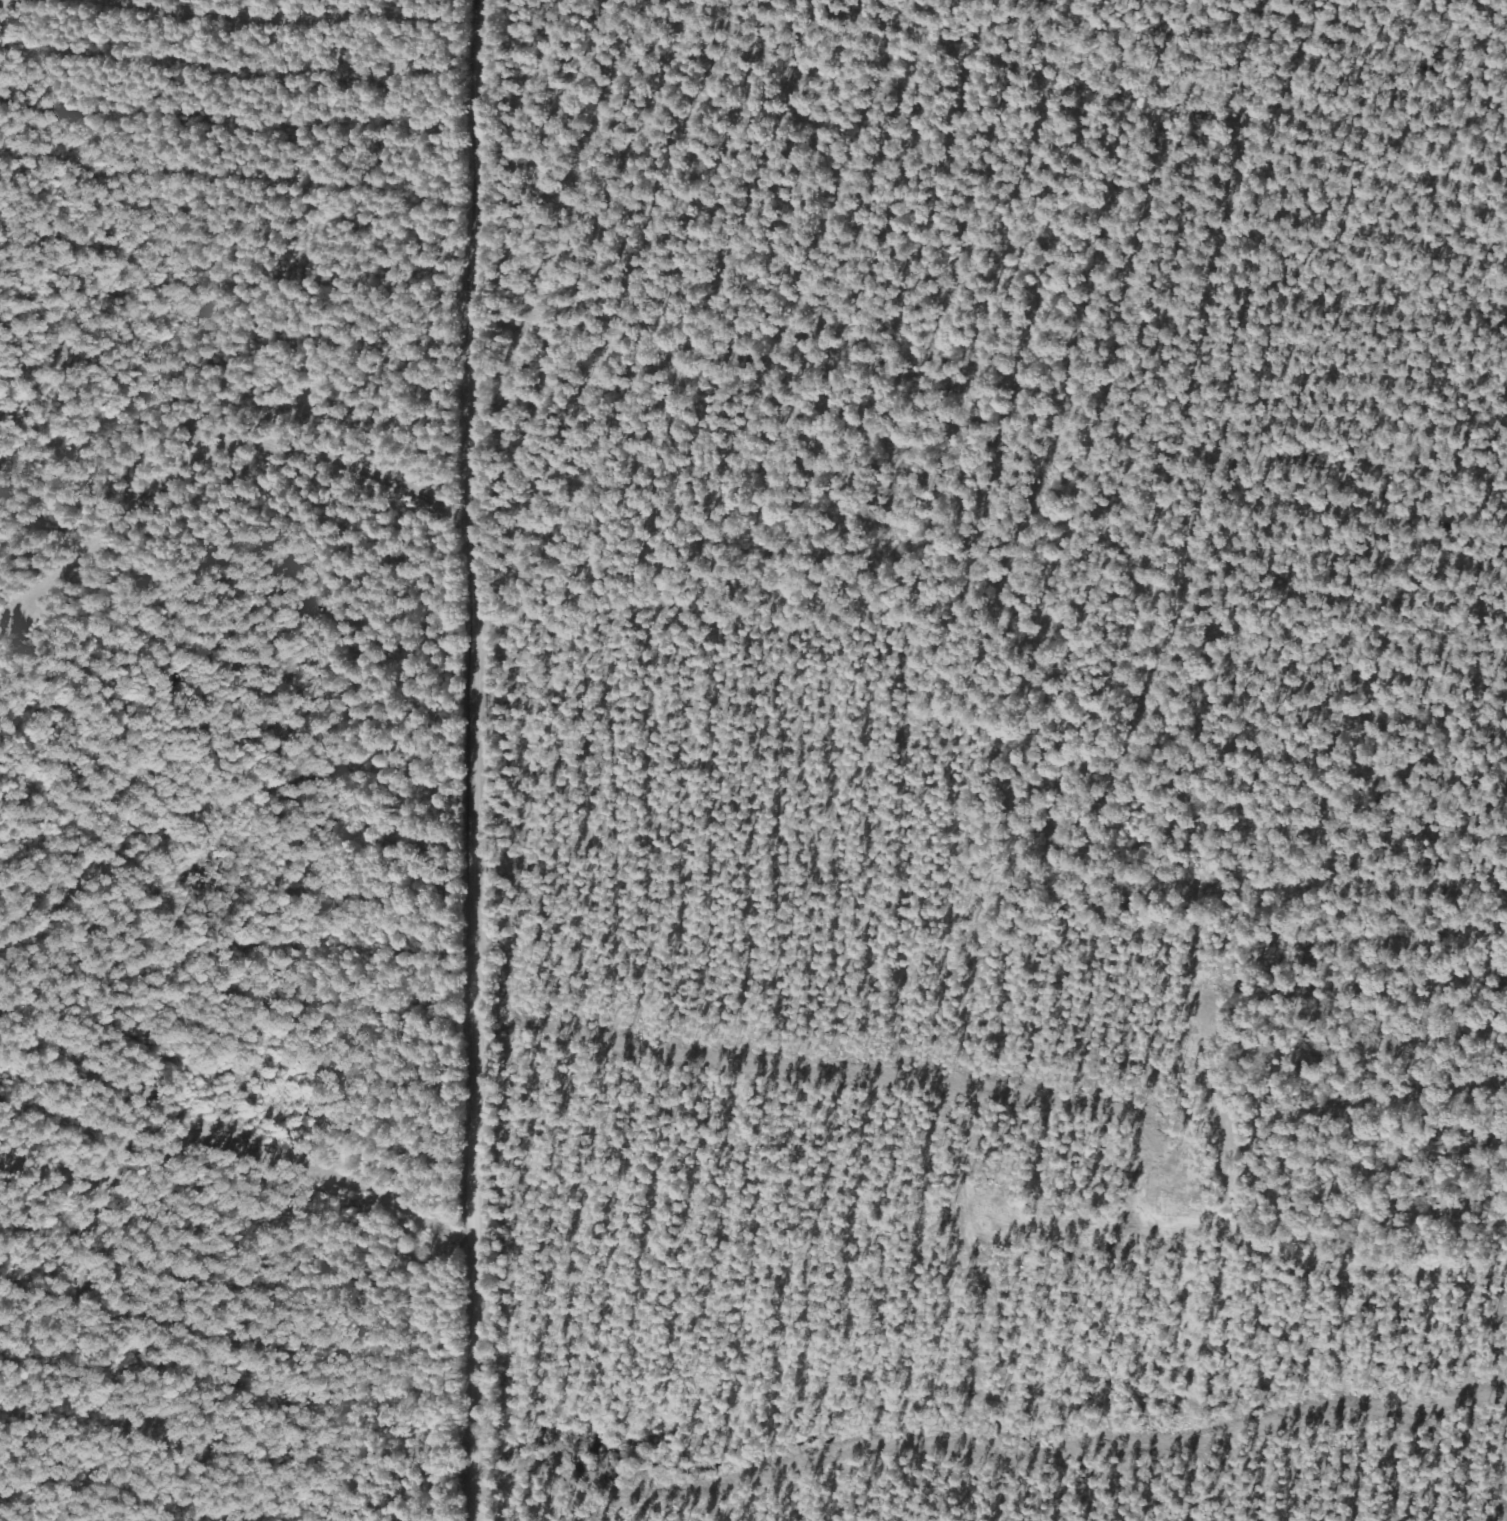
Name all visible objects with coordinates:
road: (479, 760)

